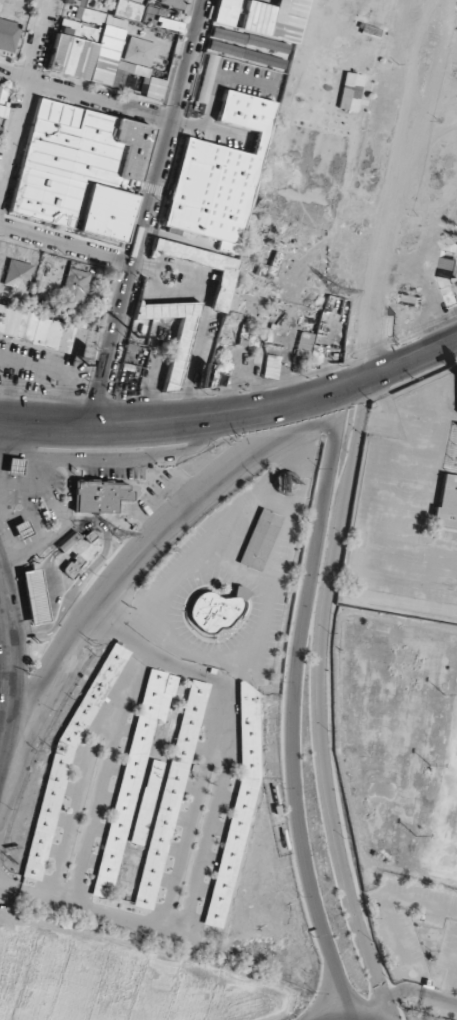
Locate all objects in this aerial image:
road: (145, 220)
road: (410, 352)
road: (409, 376)
crop: (120, 980)

